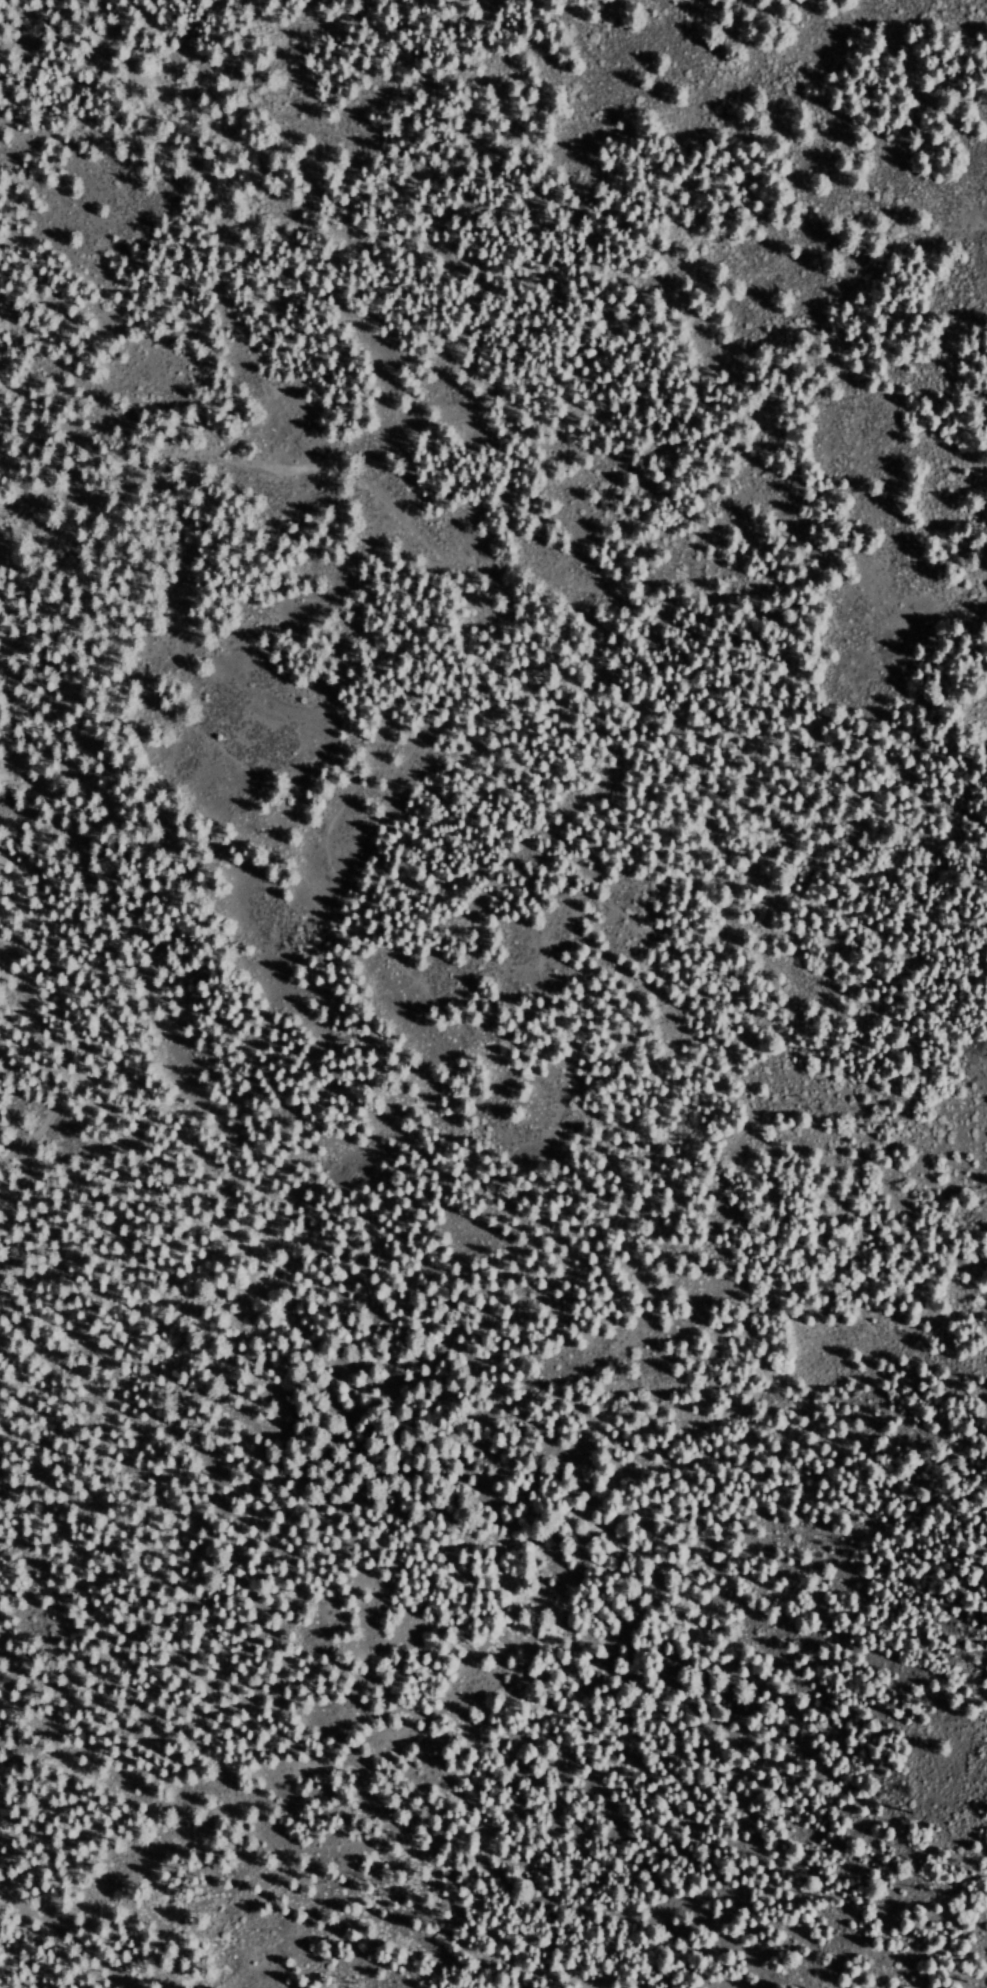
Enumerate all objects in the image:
road: (36, 774)

